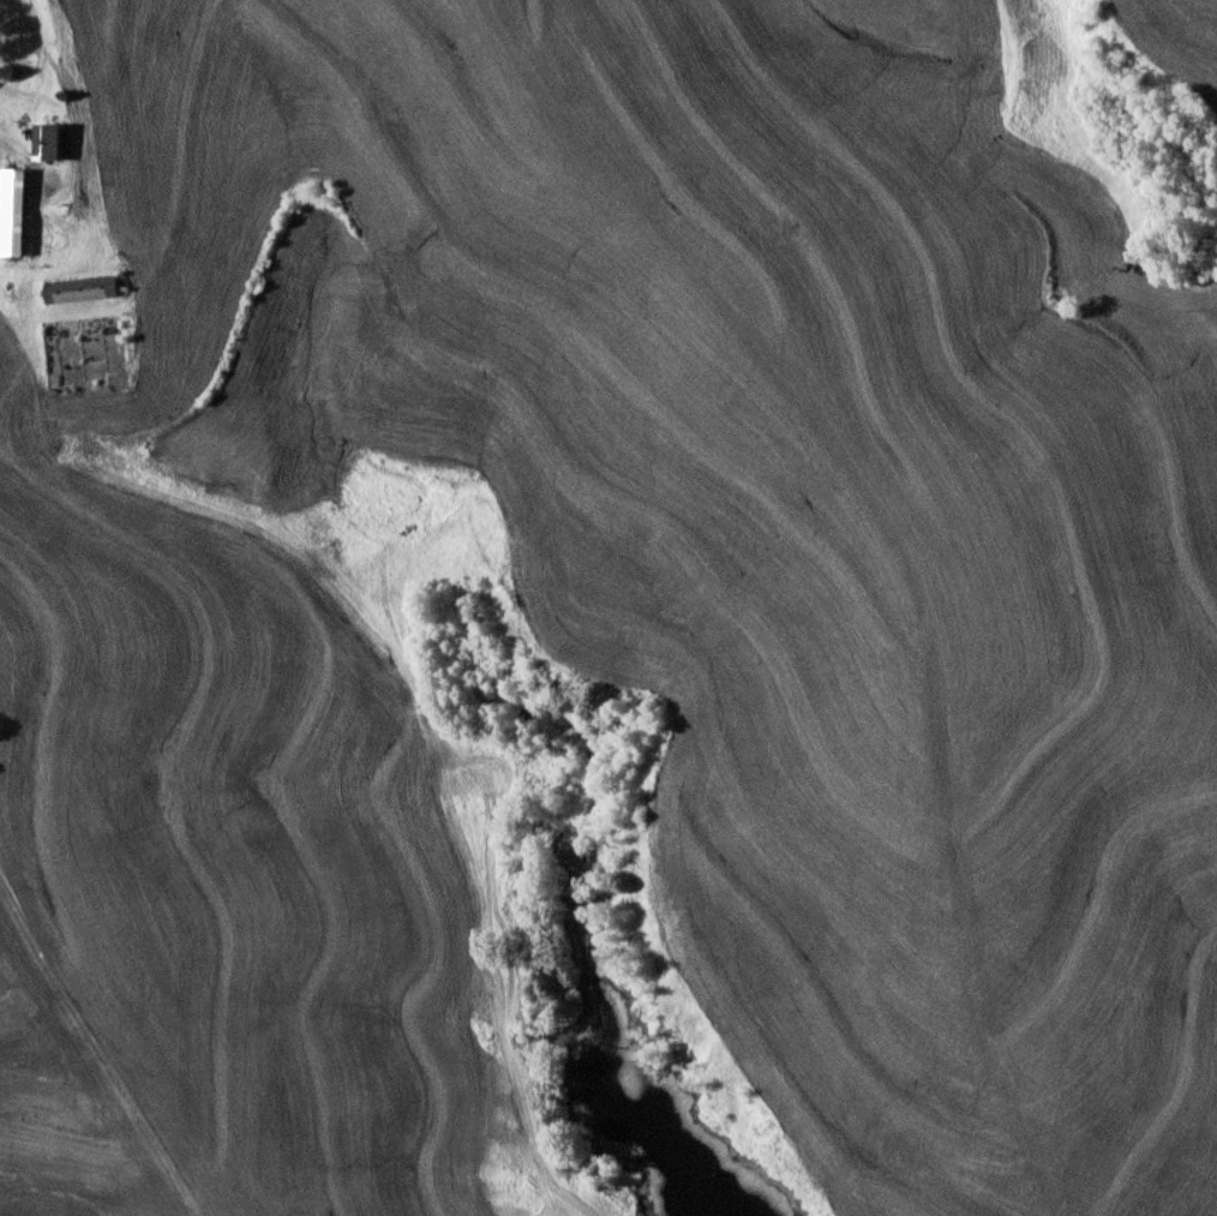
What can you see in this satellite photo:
building: (42, 138)
building: (8, 208)
building: (66, 286)

